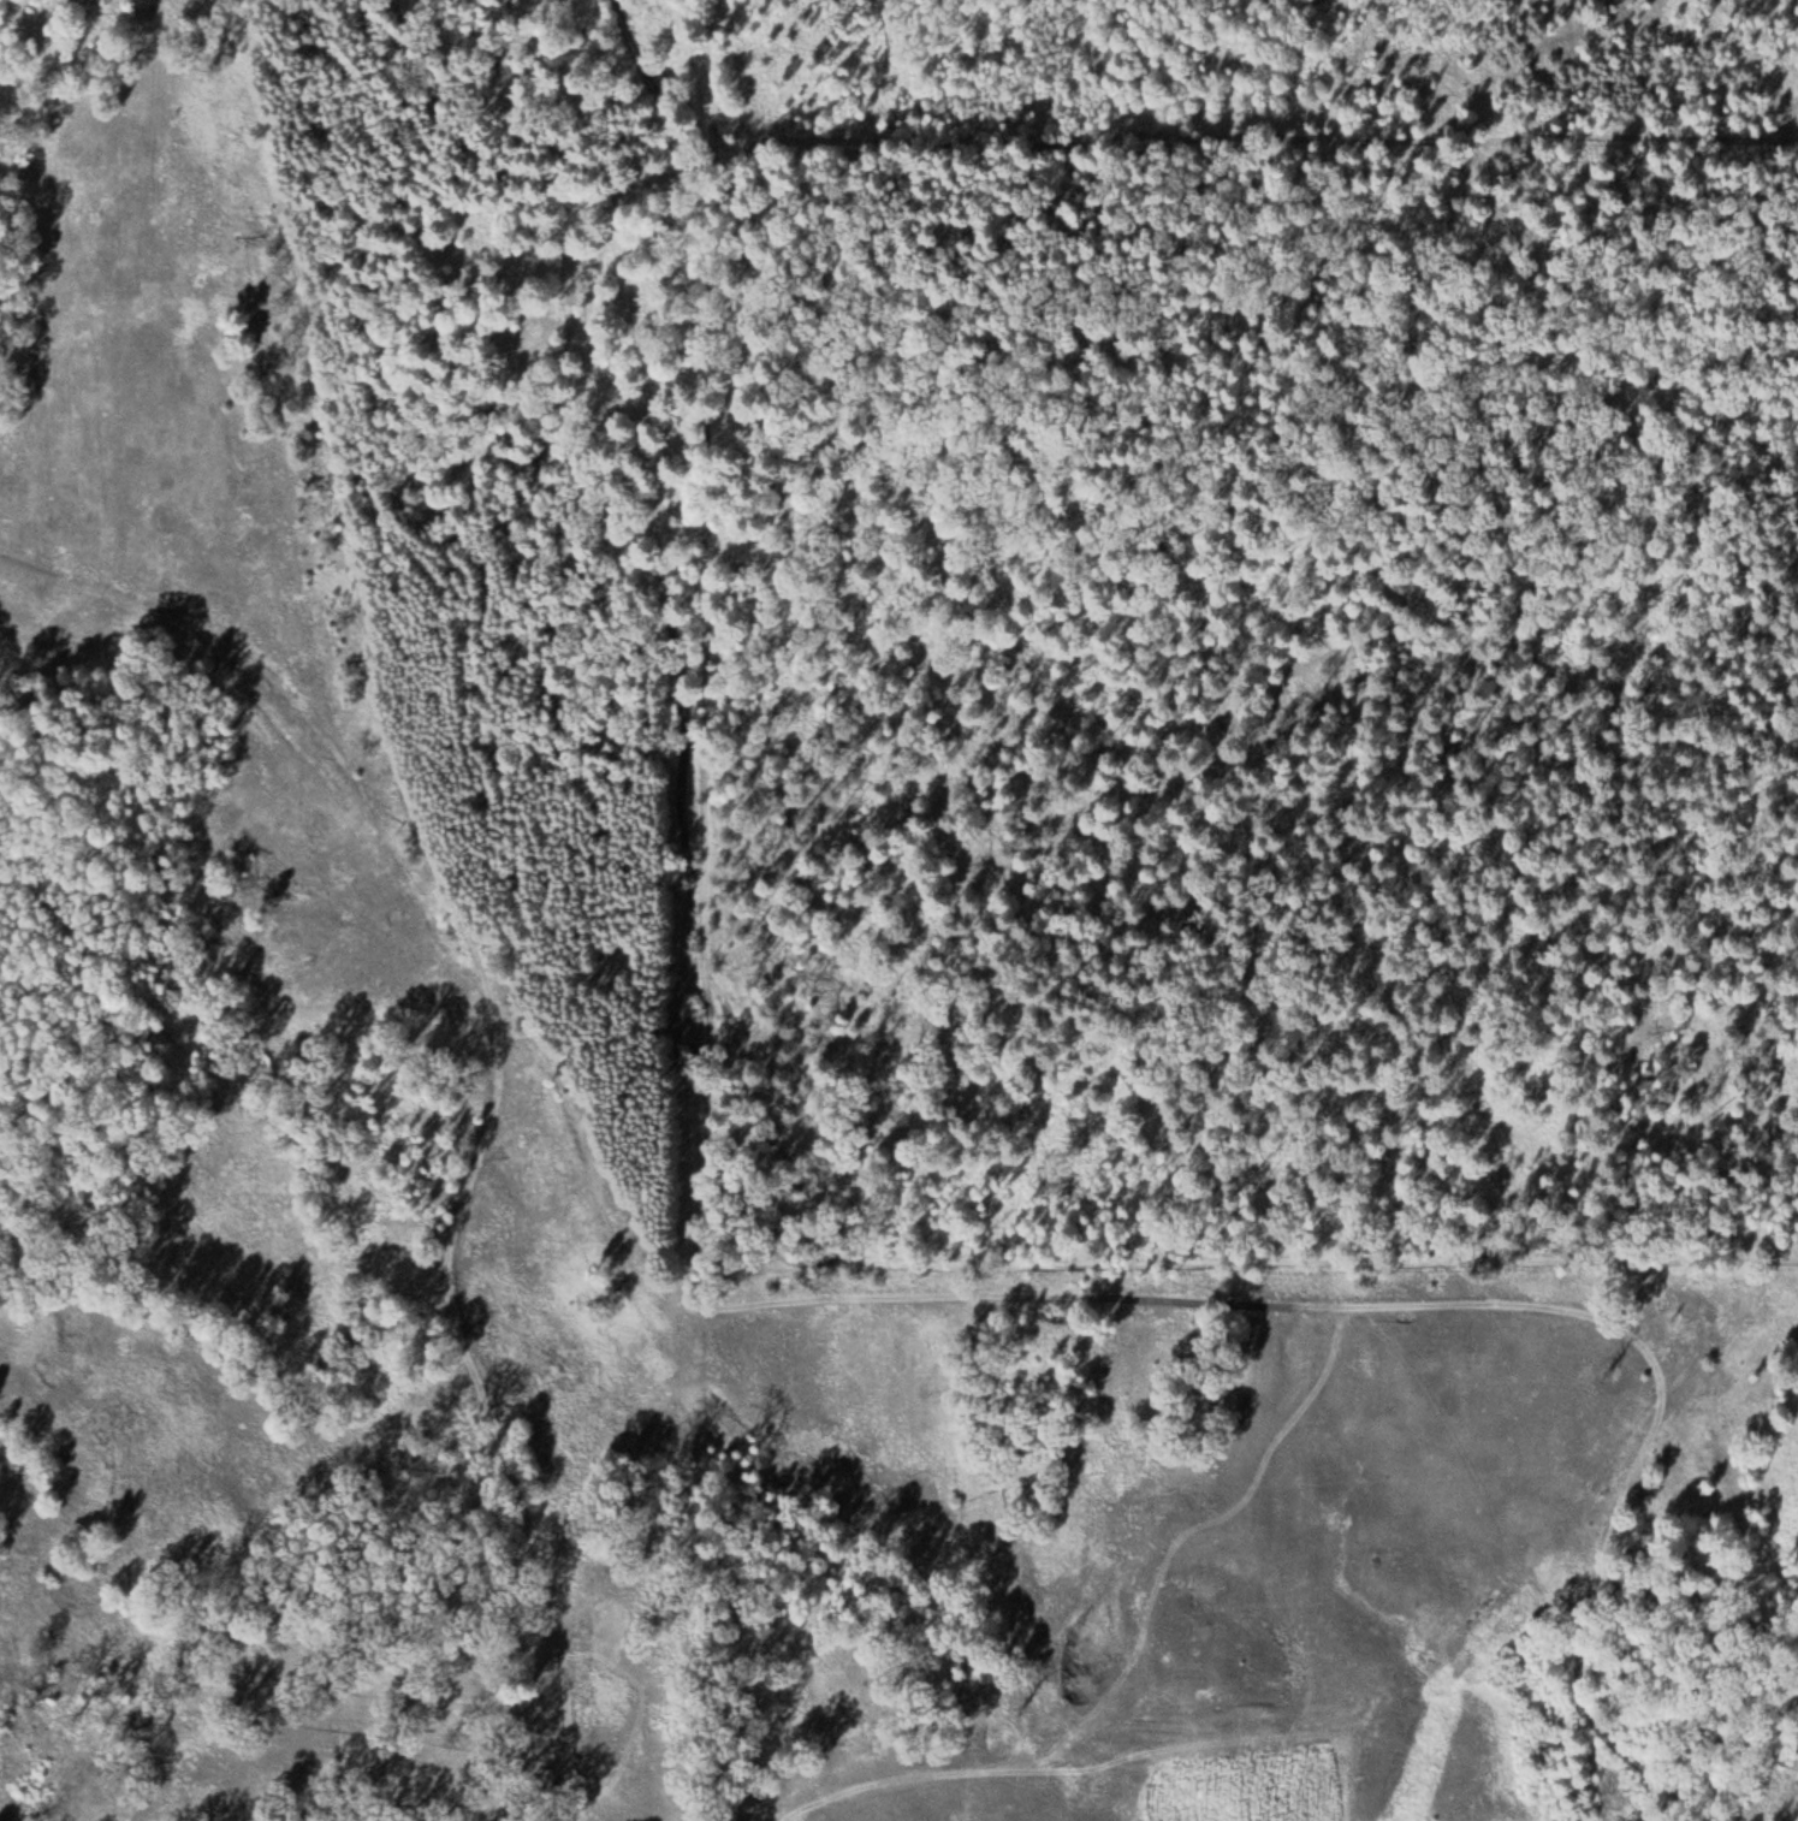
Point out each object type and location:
road: (1460, 138)
road: (313, 437)
road: (433, 890)
road: (1135, 923)
road: (456, 1374)

